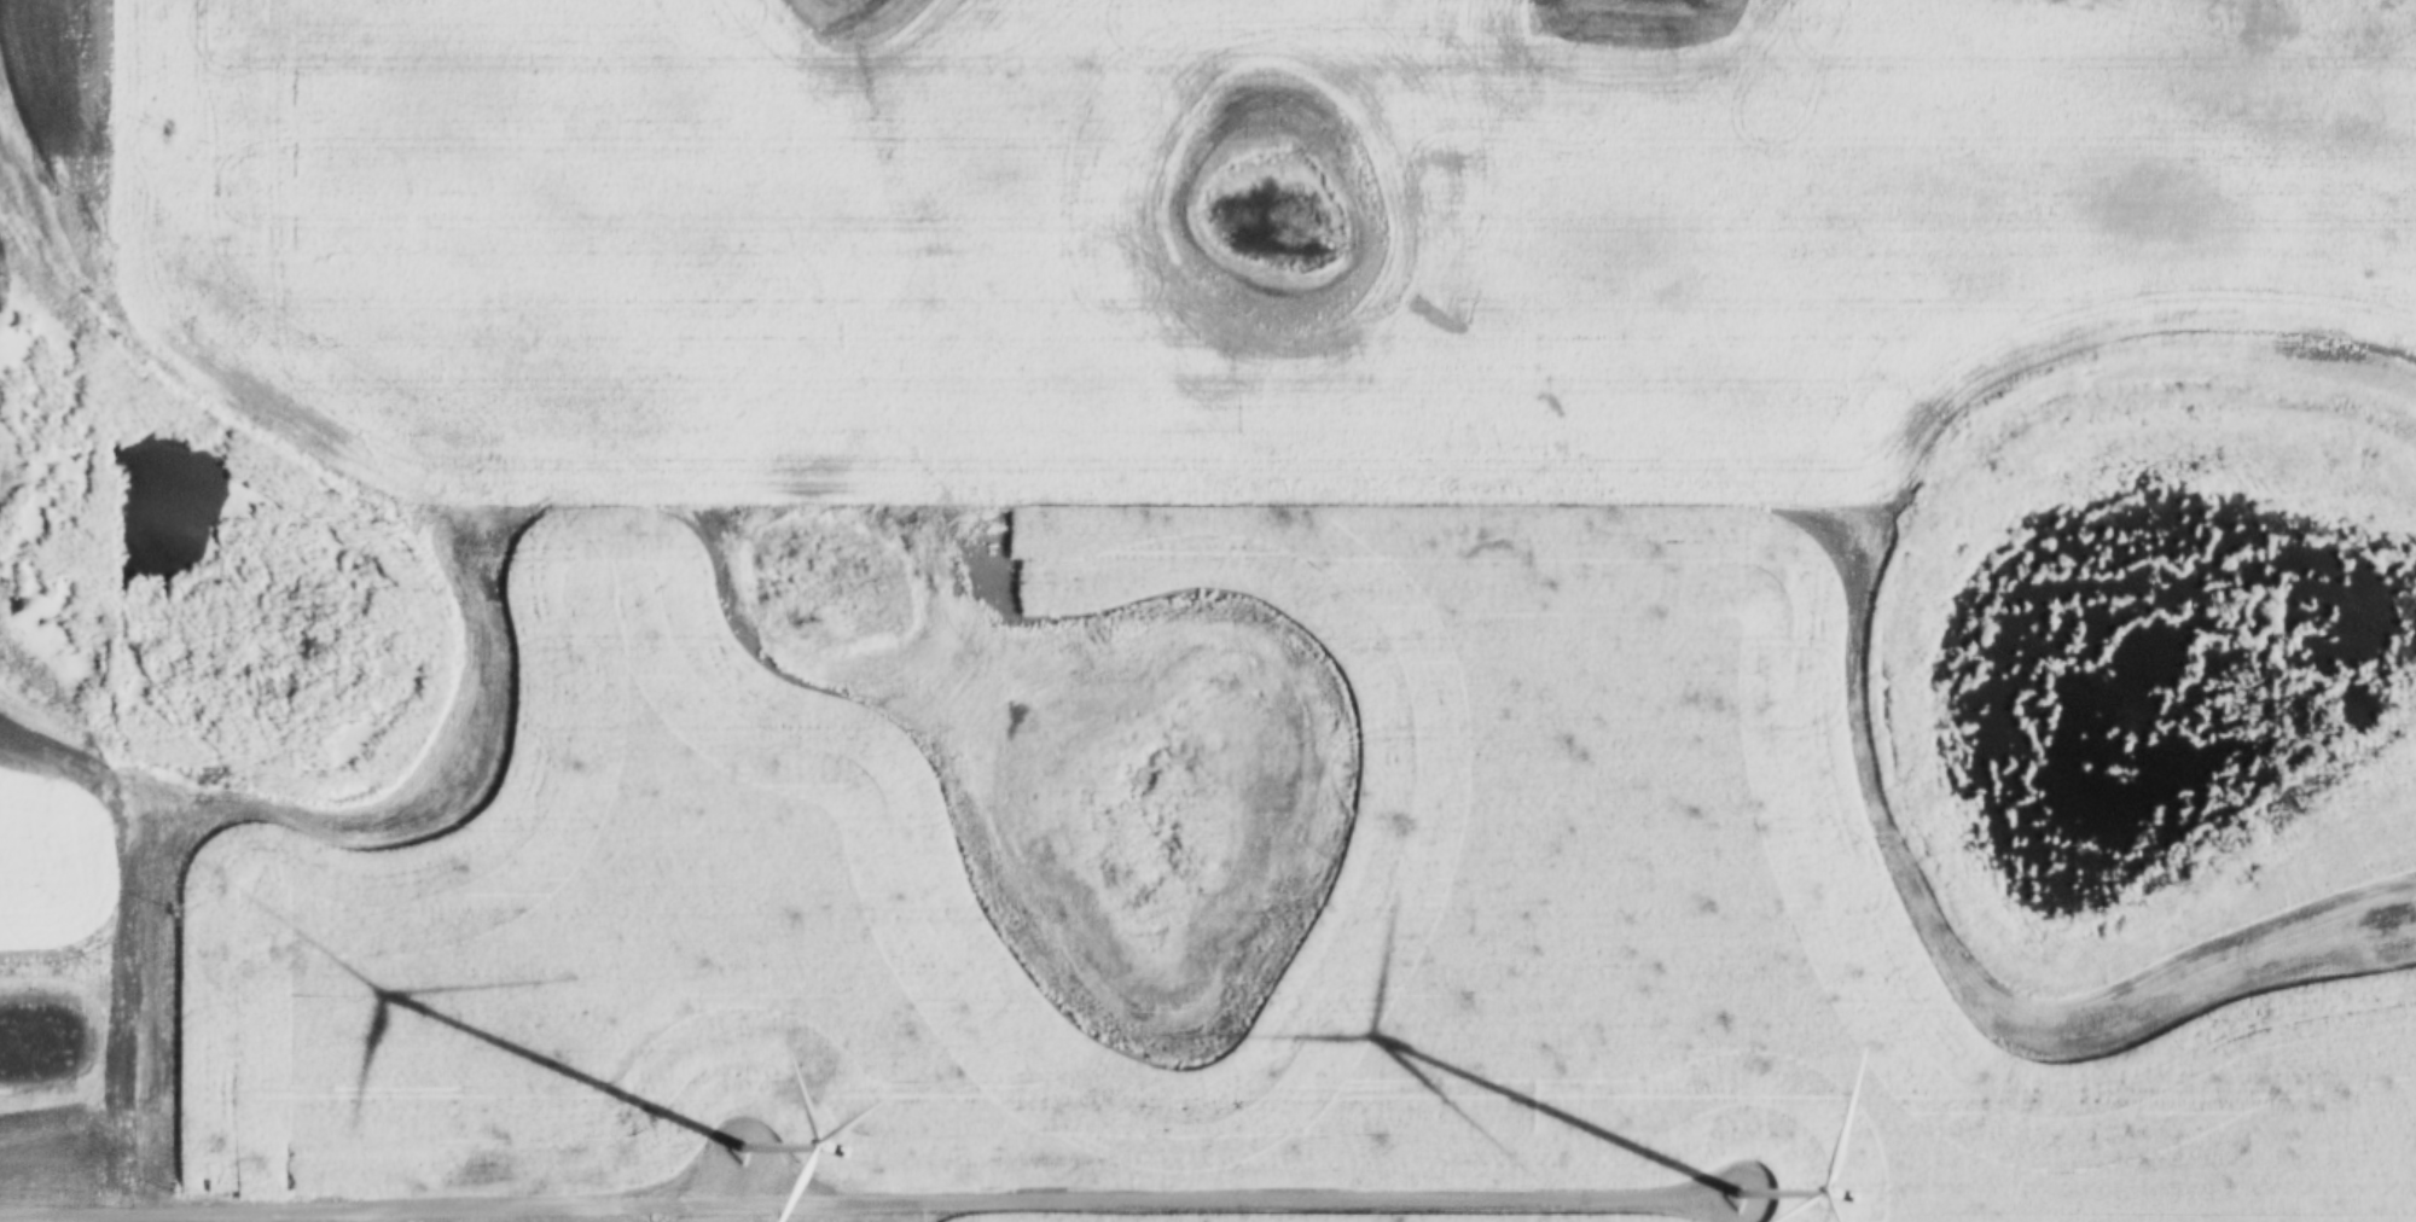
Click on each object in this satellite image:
wind turbine: (749, 1139)
wind turbine: (1740, 1187)

